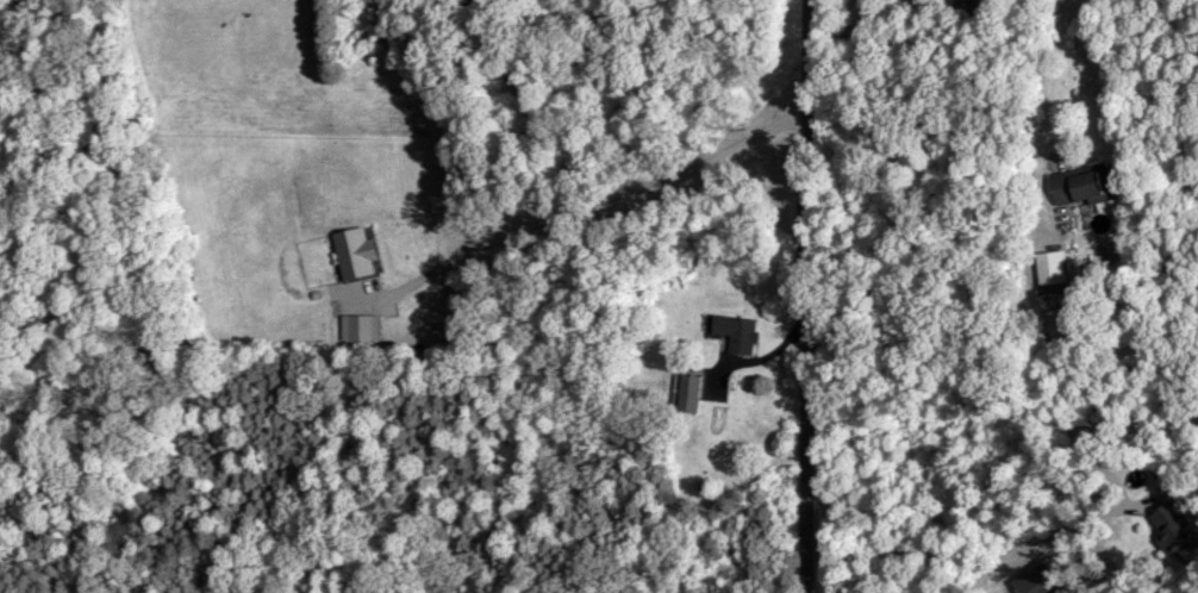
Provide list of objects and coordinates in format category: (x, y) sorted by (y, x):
building: (1080, 185)
building: (1052, 269)
road: (815, 296)
building: (735, 331)
building: (686, 392)
building: (1174, 533)
road: (1042, 539)
building: (1036, 580)

